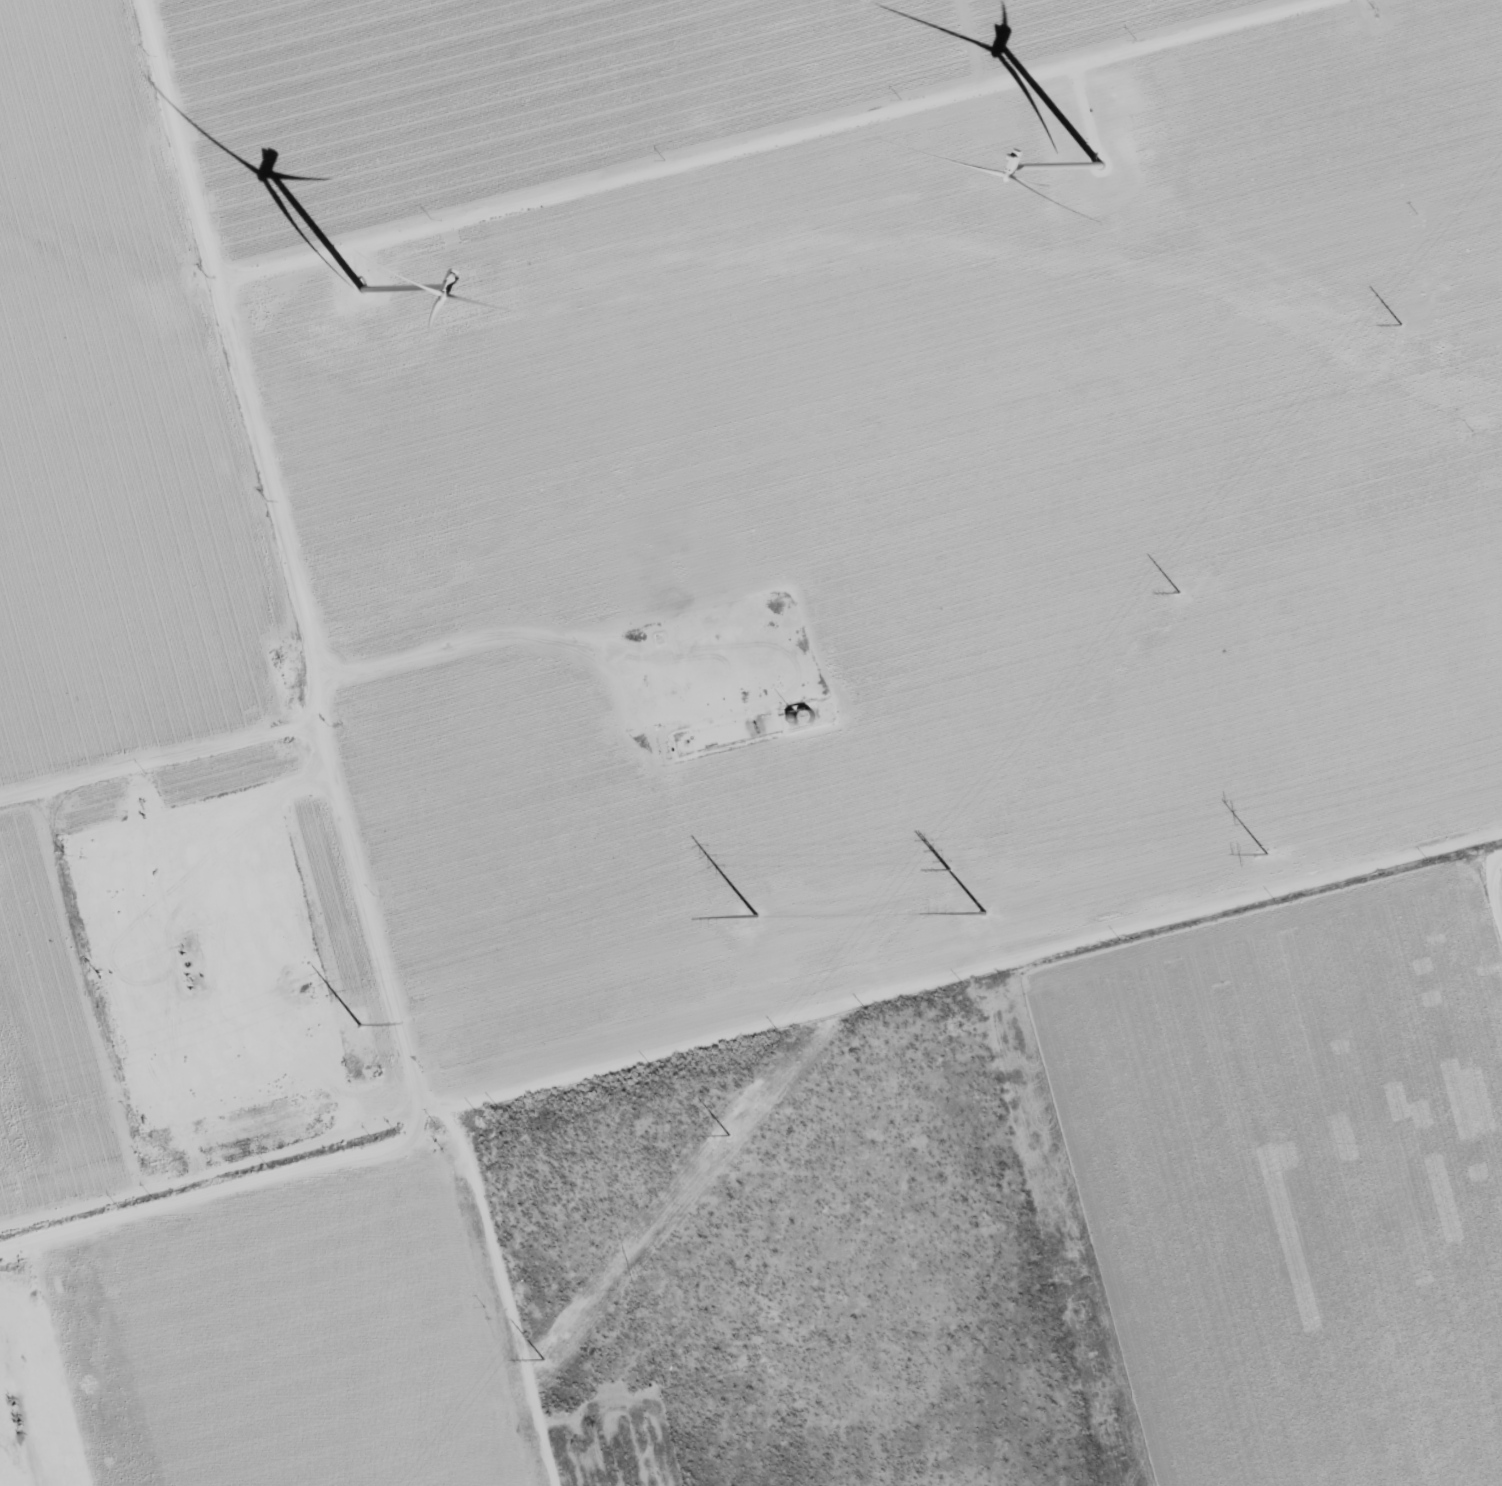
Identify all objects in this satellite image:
wind turbine: (1088, 164)
wind turbine: (357, 300)
power tower: (1408, 316)
power tower: (1186, 583)
road: (330, 751)
power tower: (1267, 851)
power tower: (956, 862)
power tower: (985, 912)
power tower: (757, 914)
power tower: (360, 1024)
power tower: (734, 1129)
power tower: (515, 1392)

